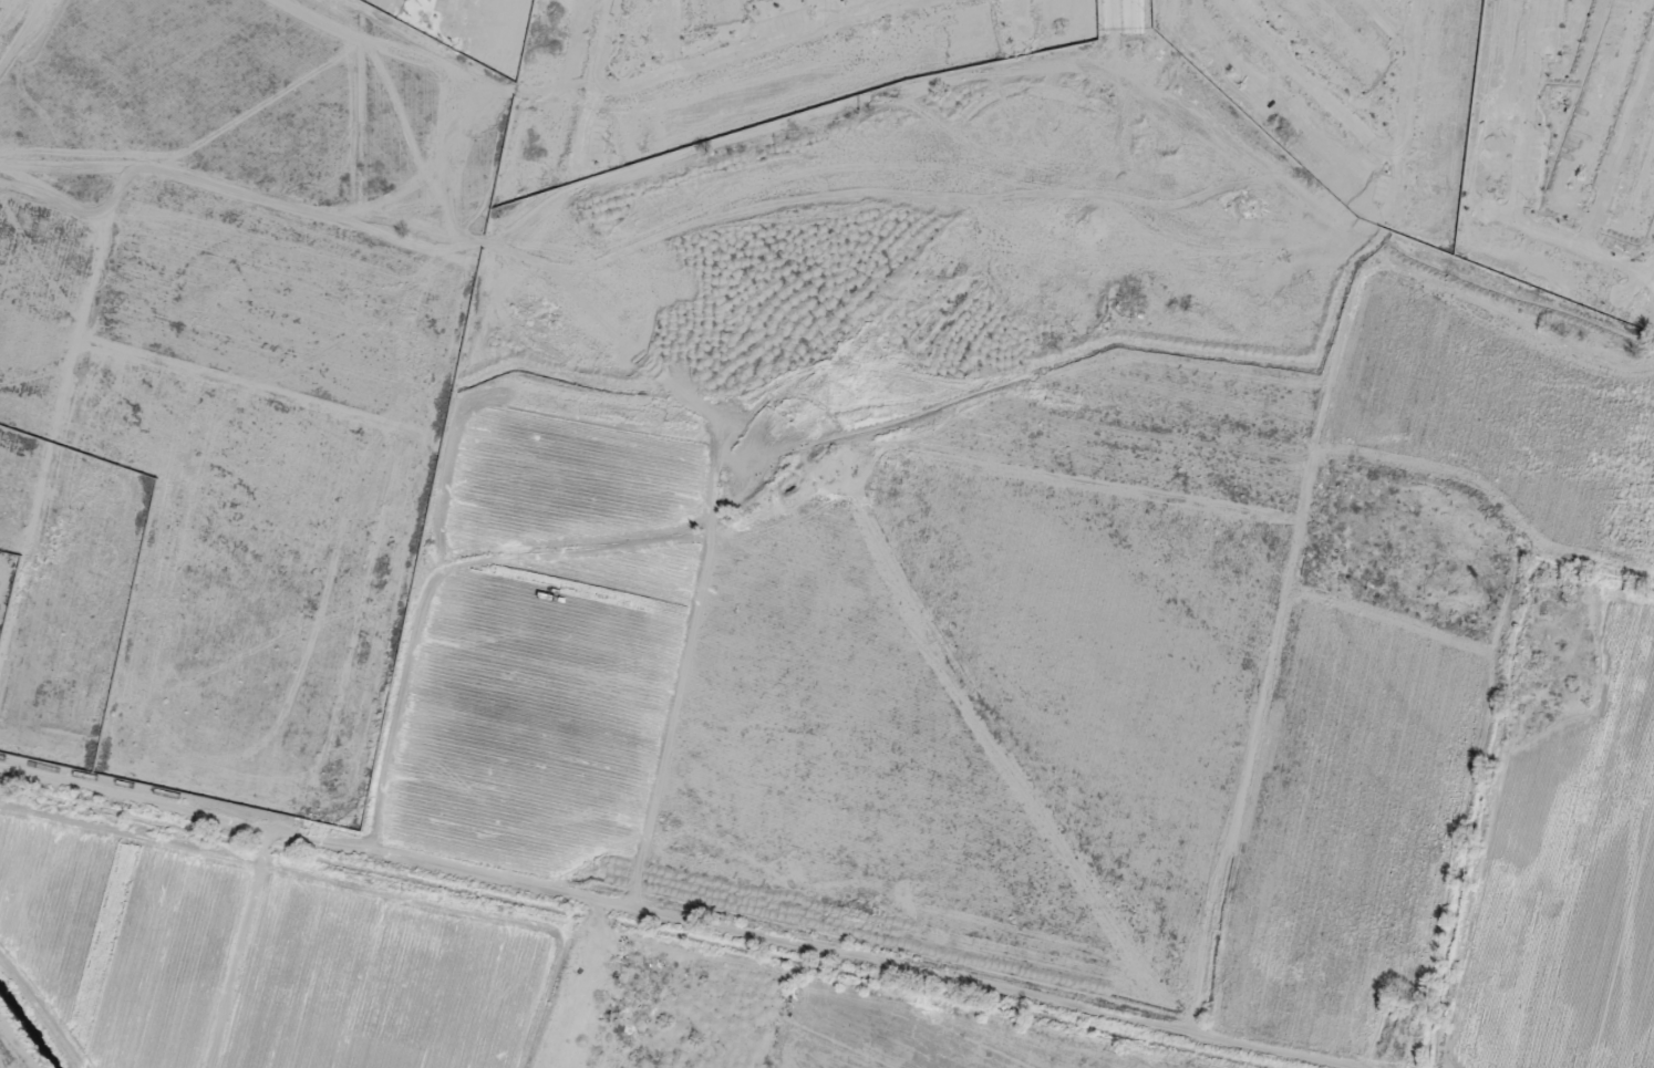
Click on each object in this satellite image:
road: (1358, 135)
road: (1519, 146)
road: (1616, 149)
road: (1616, 266)
road: (665, 913)

